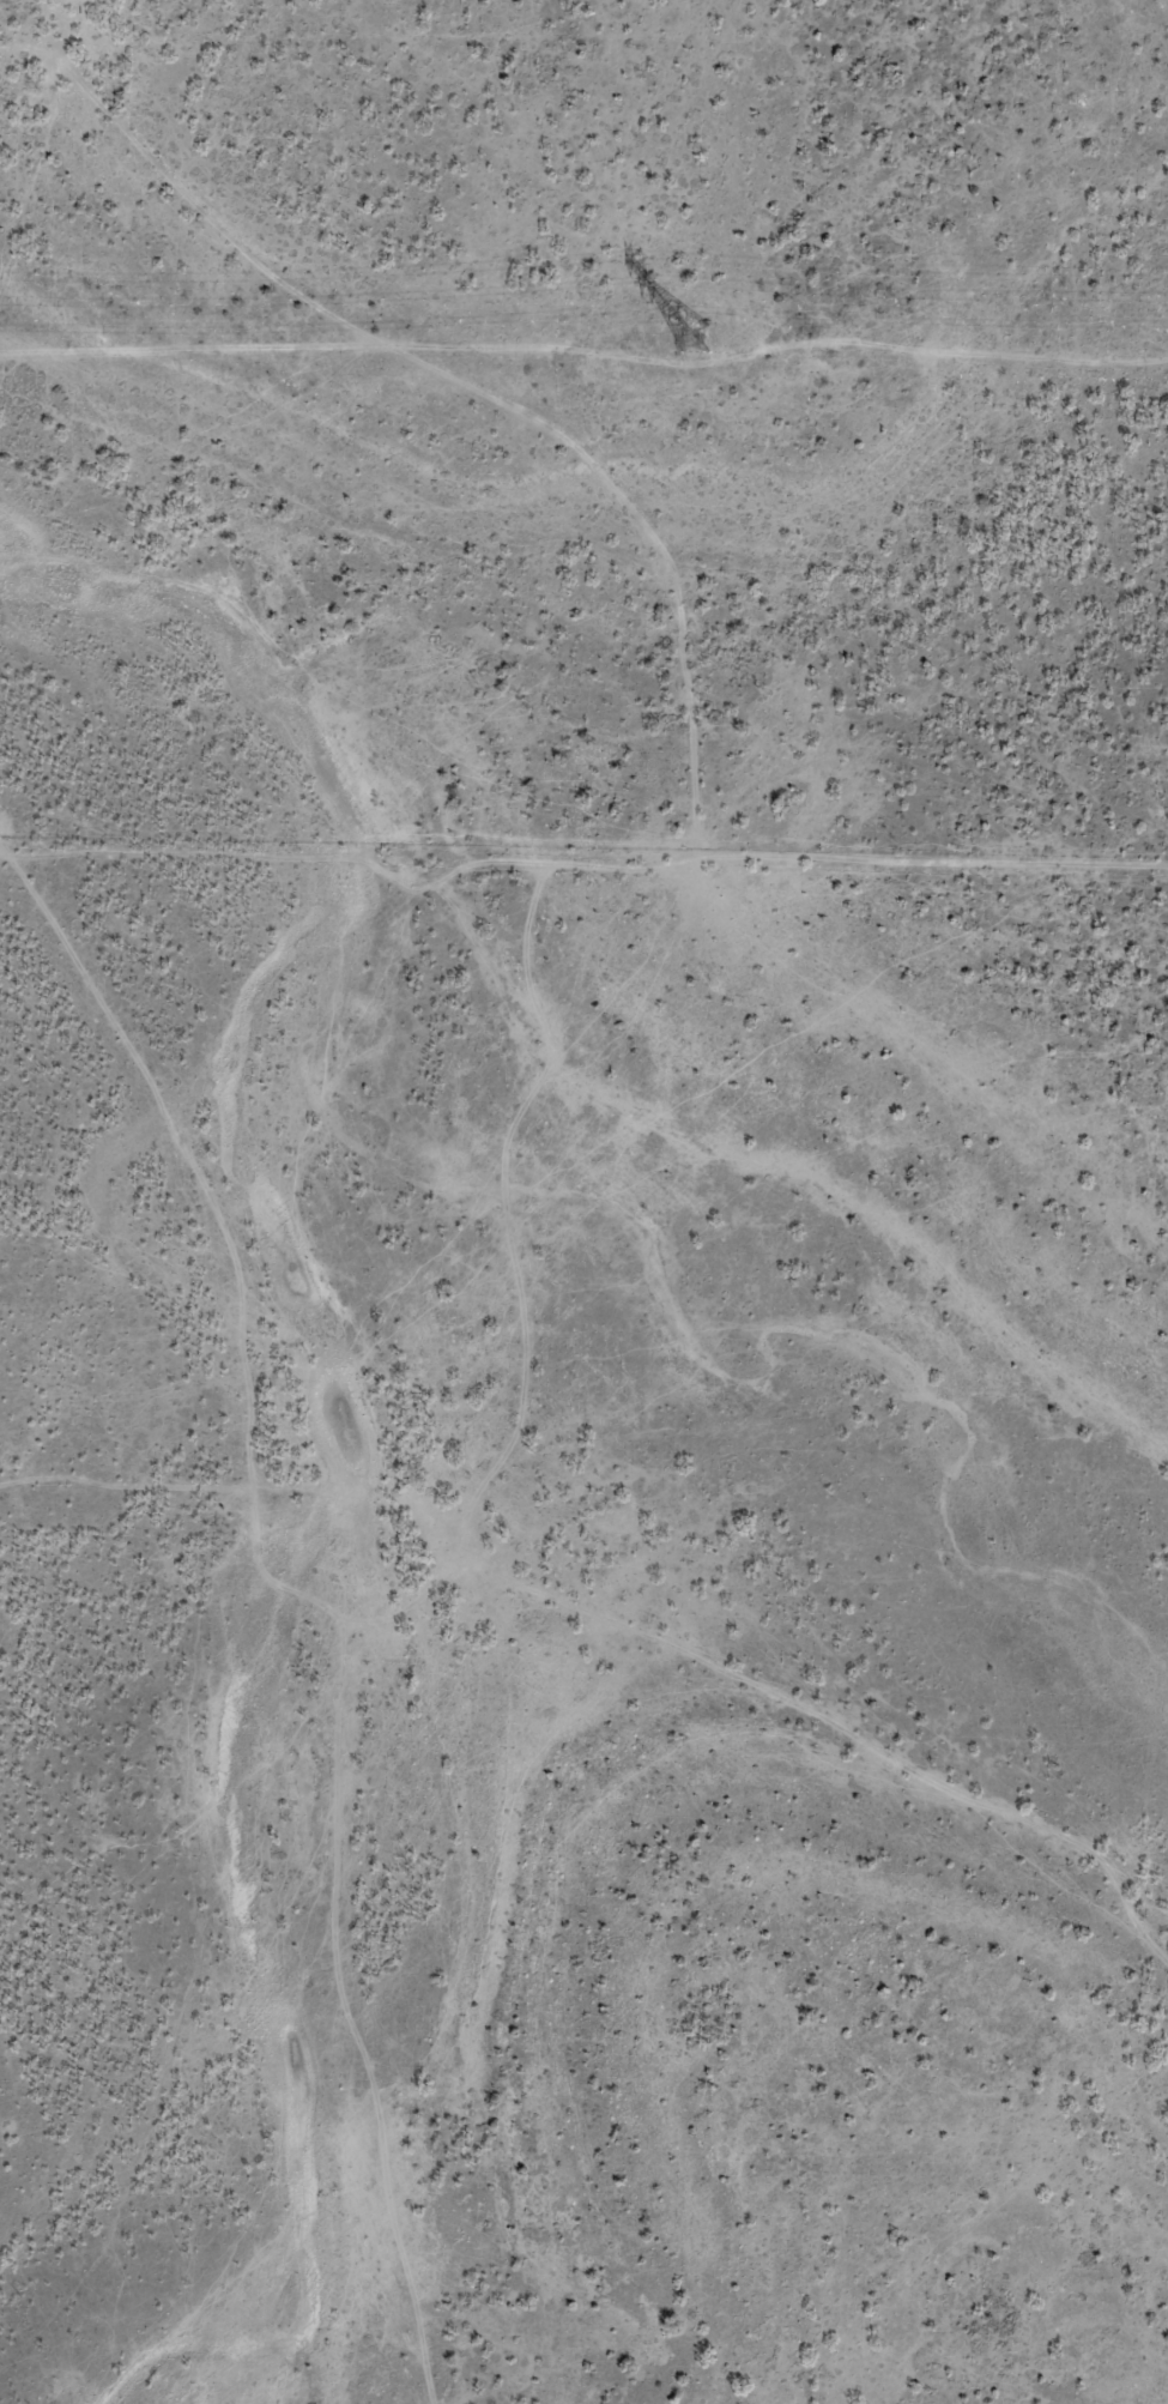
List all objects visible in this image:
power tower: (696, 337)
road: (1122, 540)
road: (593, 1446)

